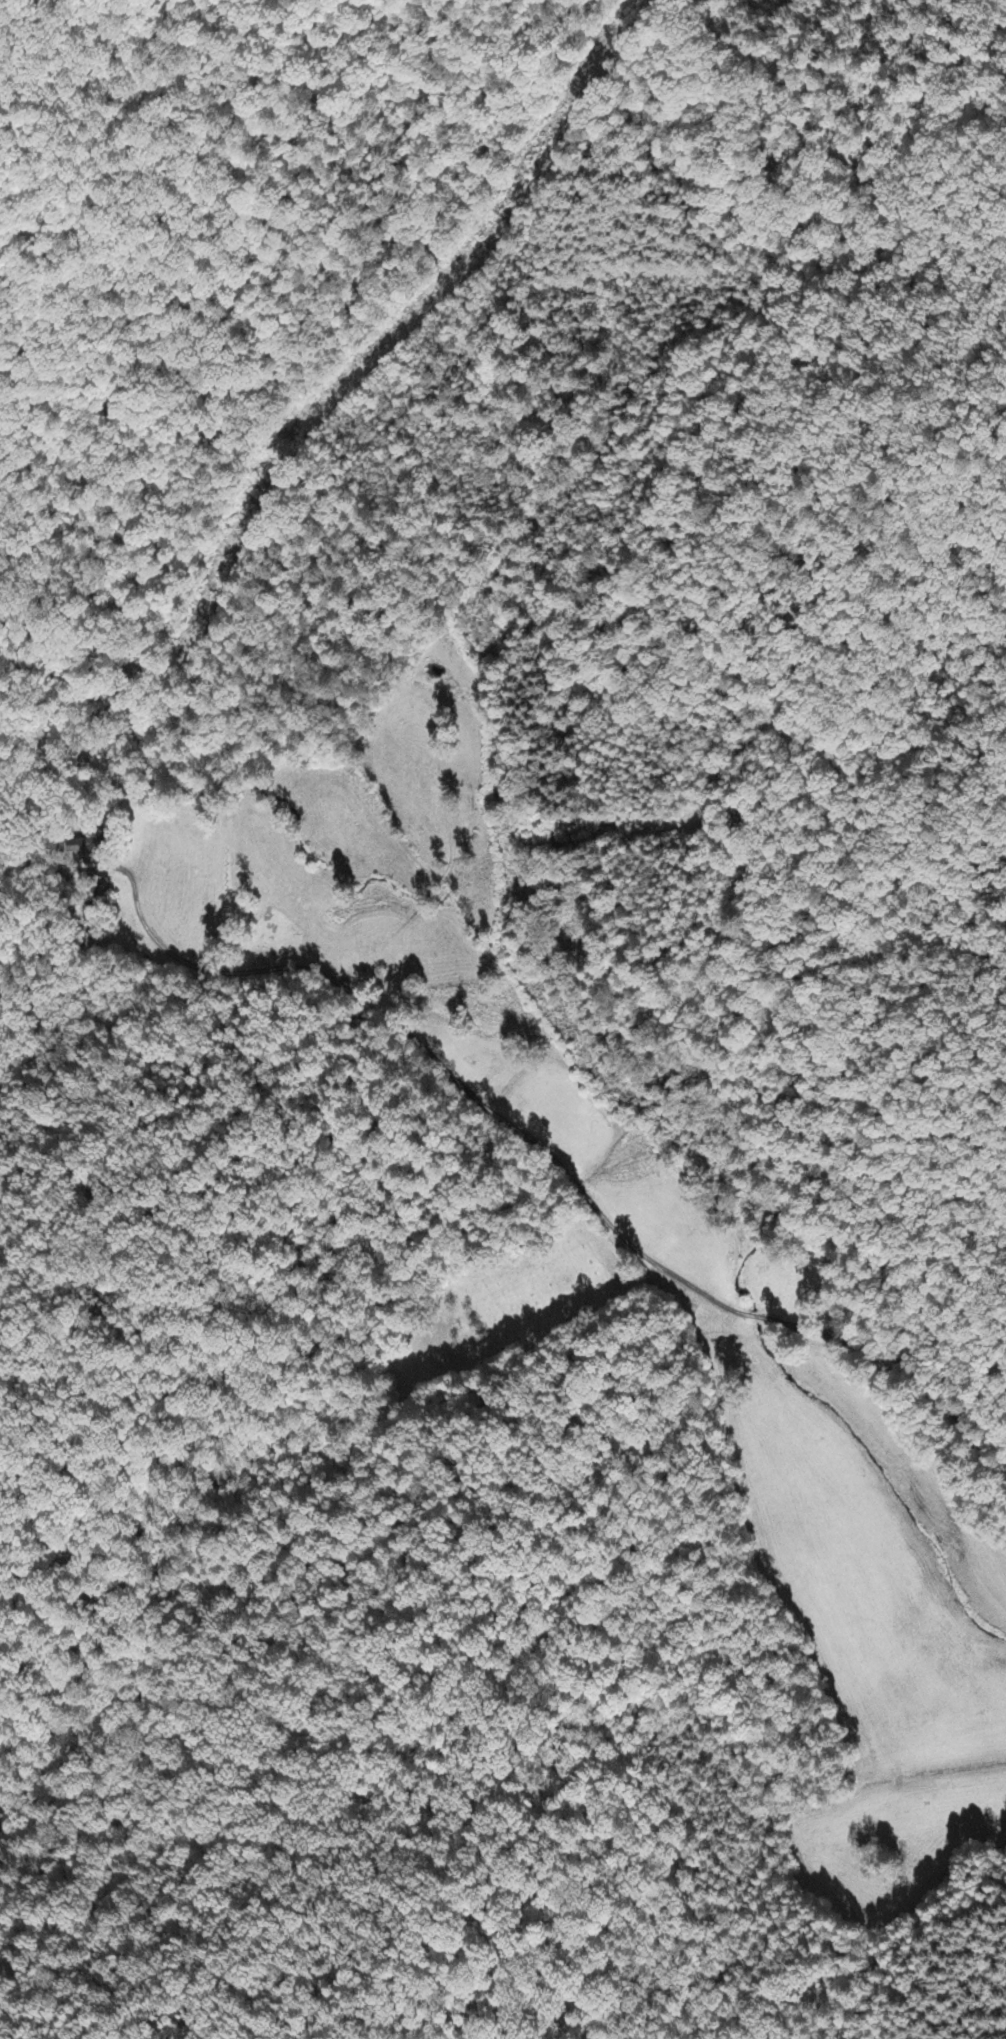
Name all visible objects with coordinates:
road: (552, 1166)

